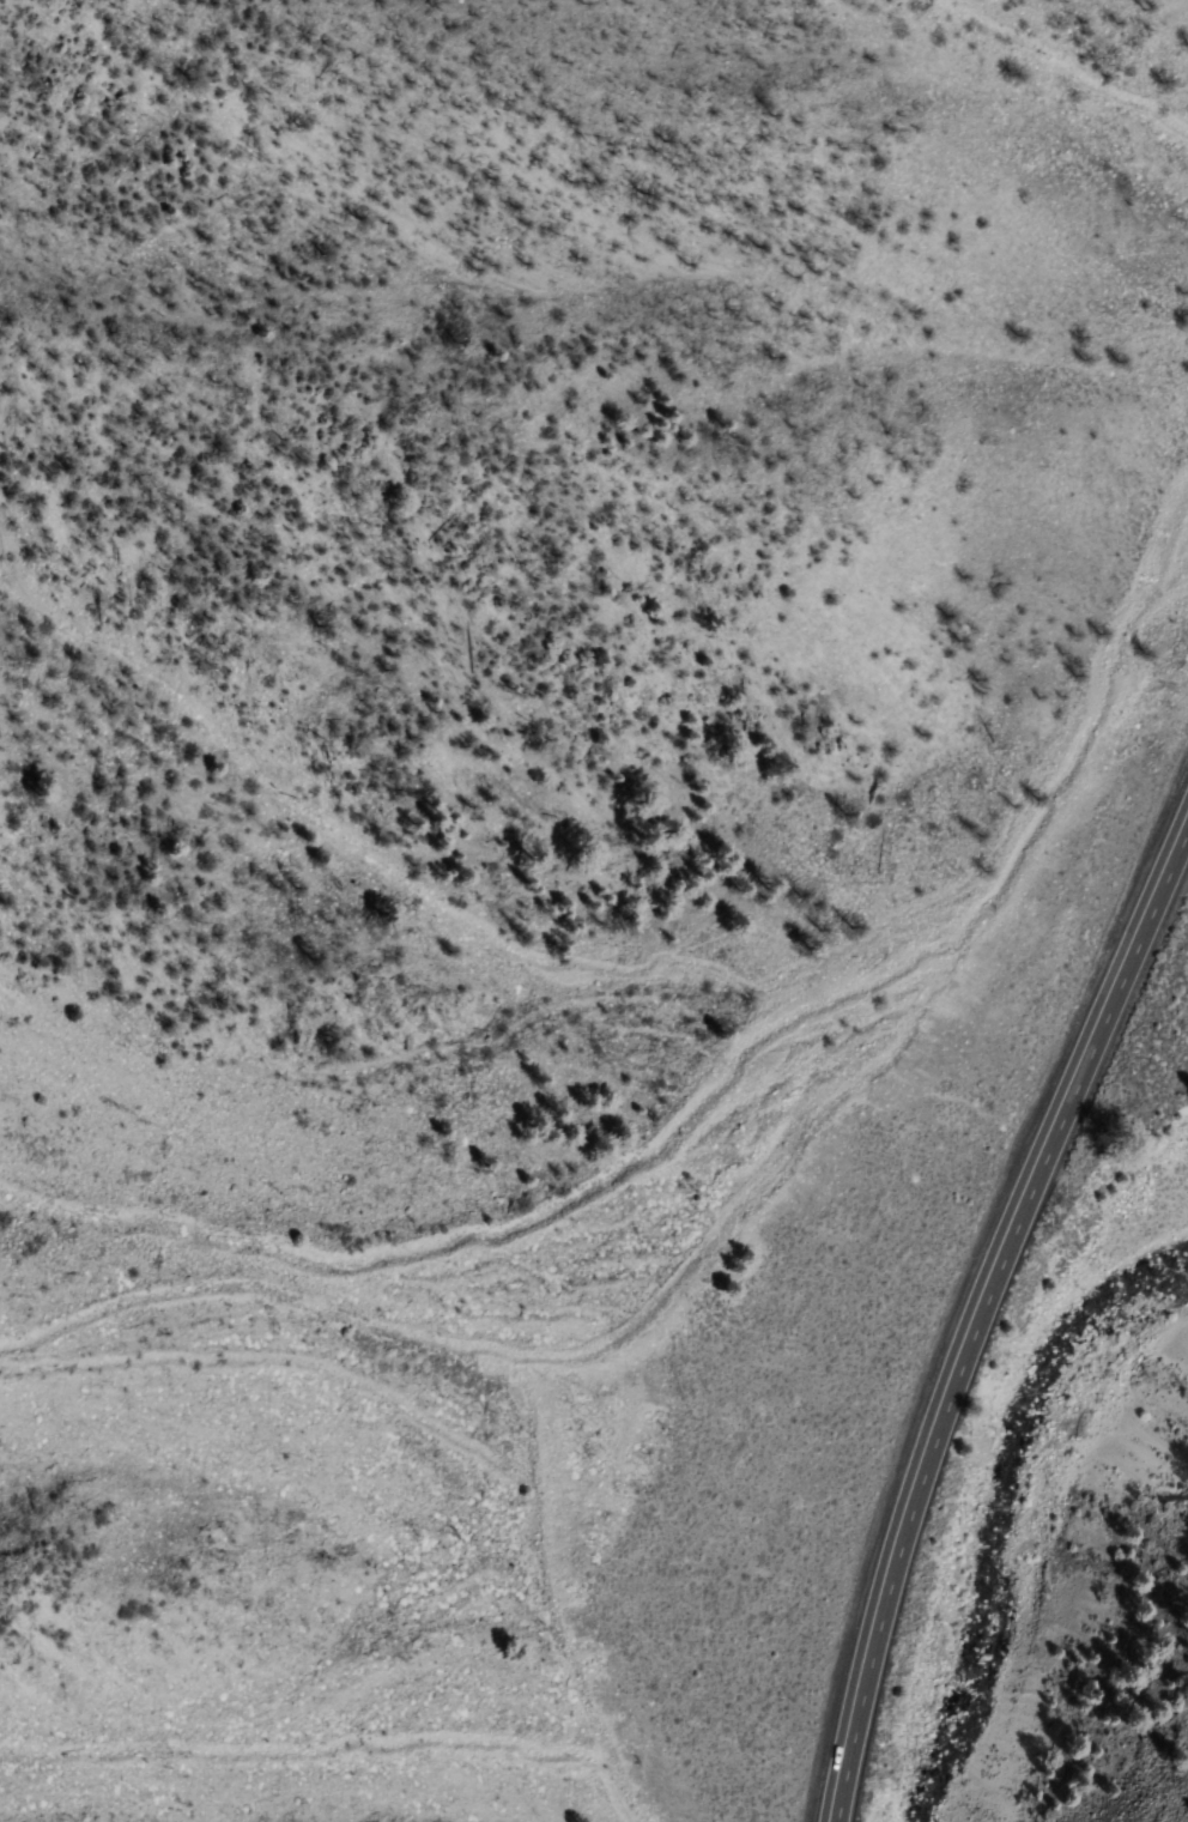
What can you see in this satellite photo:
road: (969, 1296)
river: (1001, 1505)

